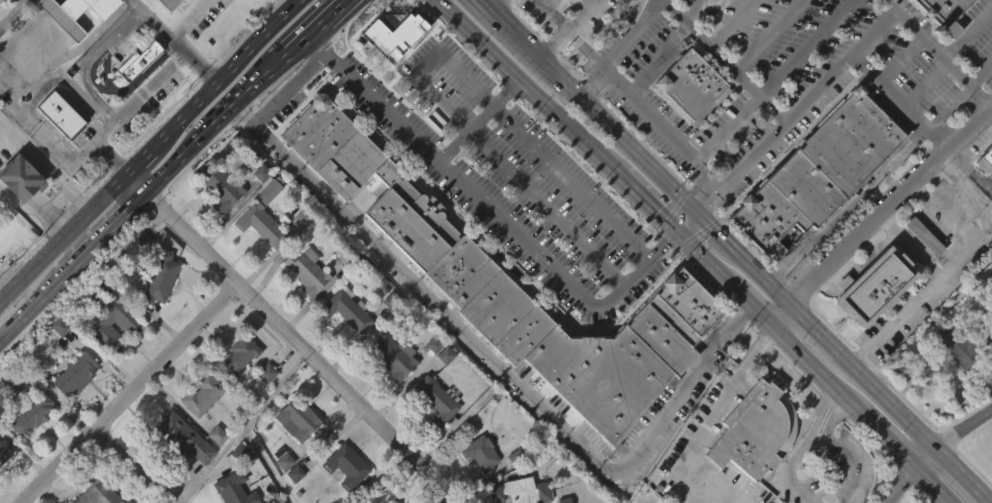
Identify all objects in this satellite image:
building: (165, 4)
road: (497, 4)
road: (492, 7)
road: (341, 8)
road: (444, 9)
road: (446, 10)
building: (76, 13)
building: (949, 13)
road: (13, 14)
road: (186, 17)
road: (317, 24)
road: (566, 26)
building: (393, 28)
road: (913, 29)
road: (520, 35)
road: (176, 40)
building: (74, 42)
road: (617, 47)
road: (69, 51)
building: (139, 54)
road: (87, 58)
road: (944, 58)
road: (722, 61)
road: (978, 68)
road: (228, 72)
road: (66, 82)
road: (288, 86)
building: (693, 86)
road: (148, 87)
building: (136, 91)
road: (448, 92)
road: (537, 93)
road: (628, 94)
road: (898, 101)
road: (795, 110)
building: (62, 114)
road: (478, 119)
building: (686, 120)
road: (103, 135)
building: (56, 148)
road: (60, 150)
road: (139, 160)
building: (987, 162)
road: (564, 165)
road: (44, 167)
building: (816, 173)
building: (22, 177)
road: (664, 178)
building: (222, 188)
road: (964, 188)
road: (144, 191)
building: (982, 192)
road: (648, 200)
road: (704, 202)
road: (889, 203)
road: (674, 208)
building: (263, 209)
building: (18, 212)
traffic signals: (697, 212)
road: (490, 213)
road: (941, 213)
road: (14, 216)
building: (369, 217)
road: (688, 221)
building: (215, 222)
road: (566, 224)
traffic signals: (679, 231)
building: (257, 236)
building: (927, 236)
road: (61, 237)
road: (687, 239)
road: (38, 240)
road: (75, 242)
road: (909, 243)
road: (14, 244)
road: (705, 258)
building: (134, 269)
building: (920, 270)
building: (305, 272)
building: (161, 278)
building: (874, 286)
building: (990, 286)
building: (518, 288)
building: (389, 292)
road: (921, 292)
road: (750, 303)
building: (303, 305)
building: (348, 309)
road: (779, 311)
building: (157, 312)
building: (991, 318)
building: (871, 320)
building: (129, 324)
road: (815, 326)
road: (289, 335)
building: (344, 344)
building: (965, 344)
building: (241, 353)
building: (396, 358)
building: (57, 359)
building: (110, 360)
road: (807, 360)
road: (498, 368)
building: (76, 374)
building: (430, 377)
building: (951, 381)
building: (236, 387)
building: (442, 388)
building: (391, 391)
road: (130, 394)
building: (200, 394)
road: (888, 398)
building: (434, 399)
building: (263, 406)
building: (72, 407)
building: (34, 414)
building: (295, 418)
road: (713, 418)
road: (963, 428)
building: (198, 429)
building: (753, 430)
road: (880, 432)
building: (432, 433)
building: (179, 440)
road: (803, 445)
building: (29, 449)
road: (841, 450)
building: (4, 452)
building: (479, 452)
building: (293, 453)
road: (925, 455)
building: (752, 462)
building: (344, 465)
road: (134, 466)
building: (214, 468)
building: (178, 470)
road: (964, 472)
road: (901, 484)
road: (932, 484)
building: (476, 486)
building: (2, 487)
building: (235, 489)
building: (522, 491)
building: (98, 493)
building: (340, 493)
building: (281, 494)
building: (126, 501)
building: (292, 501)
road: (173, 502)
building: (397, 502)

